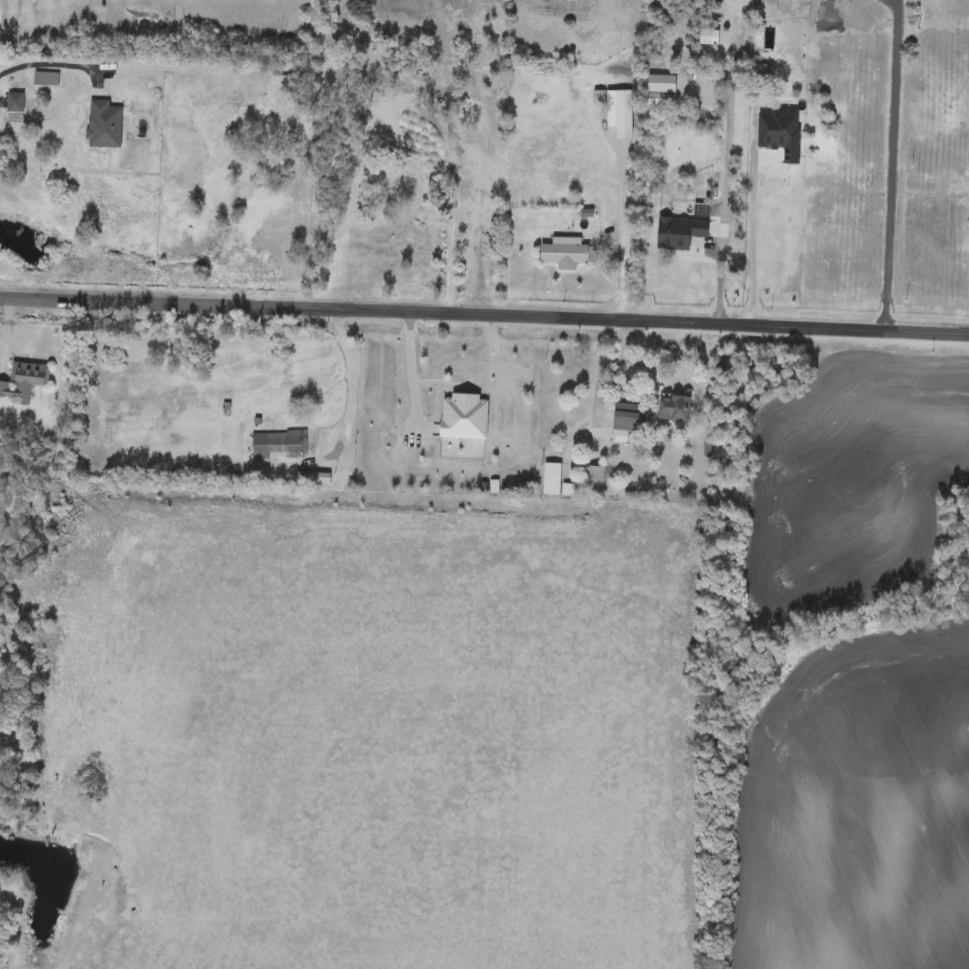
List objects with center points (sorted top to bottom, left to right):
road: (52, 60)
building: (46, 79)
building: (472, 80)
building: (701, 84)
building: (15, 102)
building: (788, 106)
building: (619, 109)
building: (104, 125)
road: (889, 163)
building: (400, 194)
road: (723, 194)
road: (620, 230)
road: (753, 233)
building: (565, 254)
road: (484, 303)
road: (408, 362)
road: (608, 362)
building: (287, 370)
road: (349, 380)
building: (24, 381)
building: (675, 408)
building: (626, 417)
building: (278, 442)
building: (595, 477)

